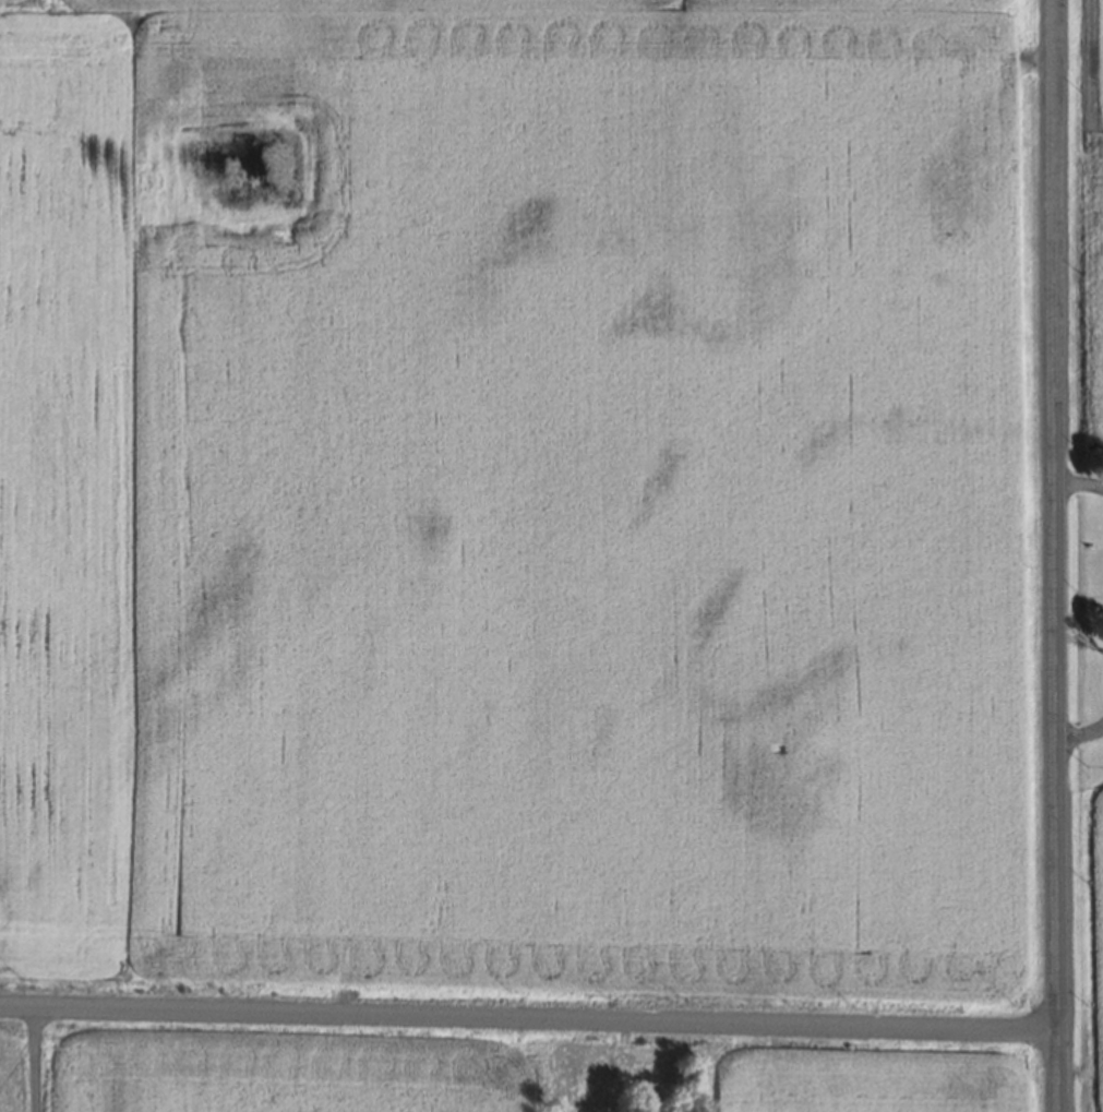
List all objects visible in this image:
road: (1079, 482)
road: (1055, 555)
road: (1081, 733)
road: (529, 1018)
road: (35, 1059)

